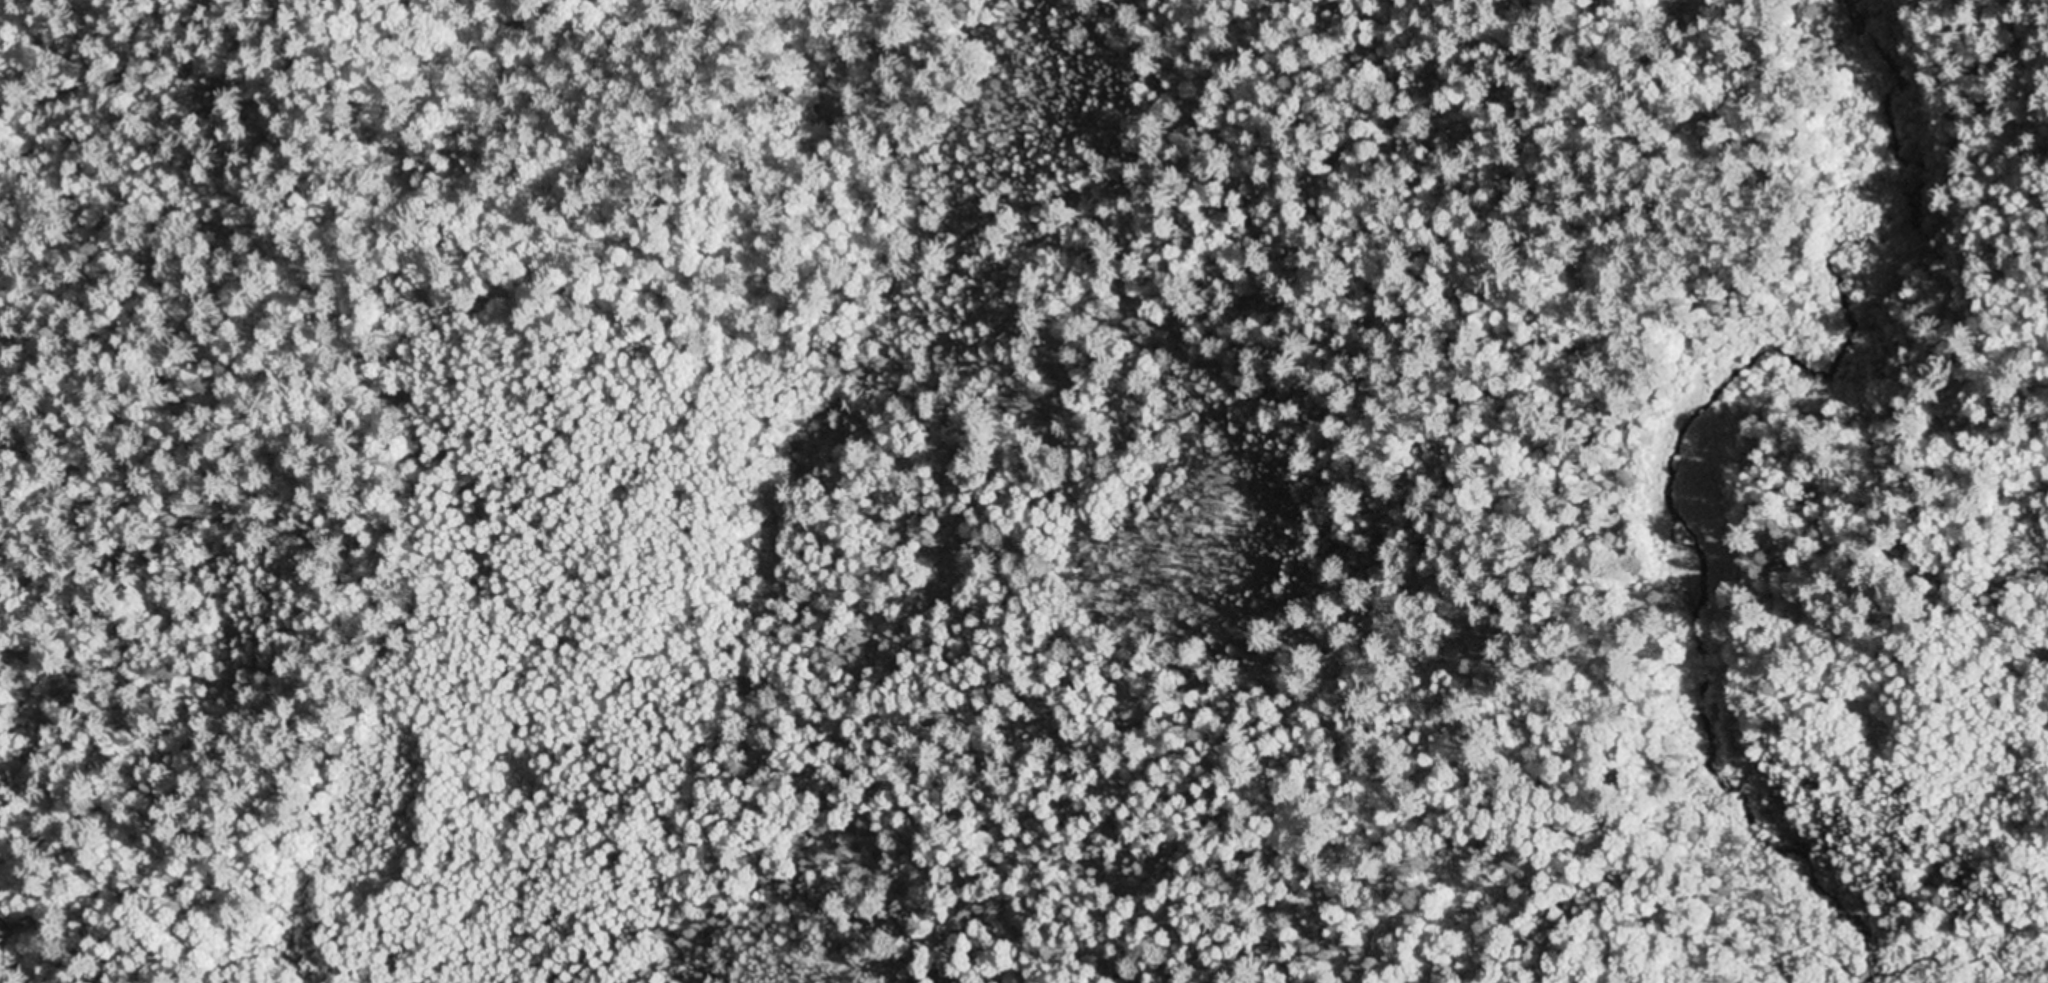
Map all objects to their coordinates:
road: (656, 108)
road: (255, 376)
road: (1830, 672)
road: (1203, 886)

